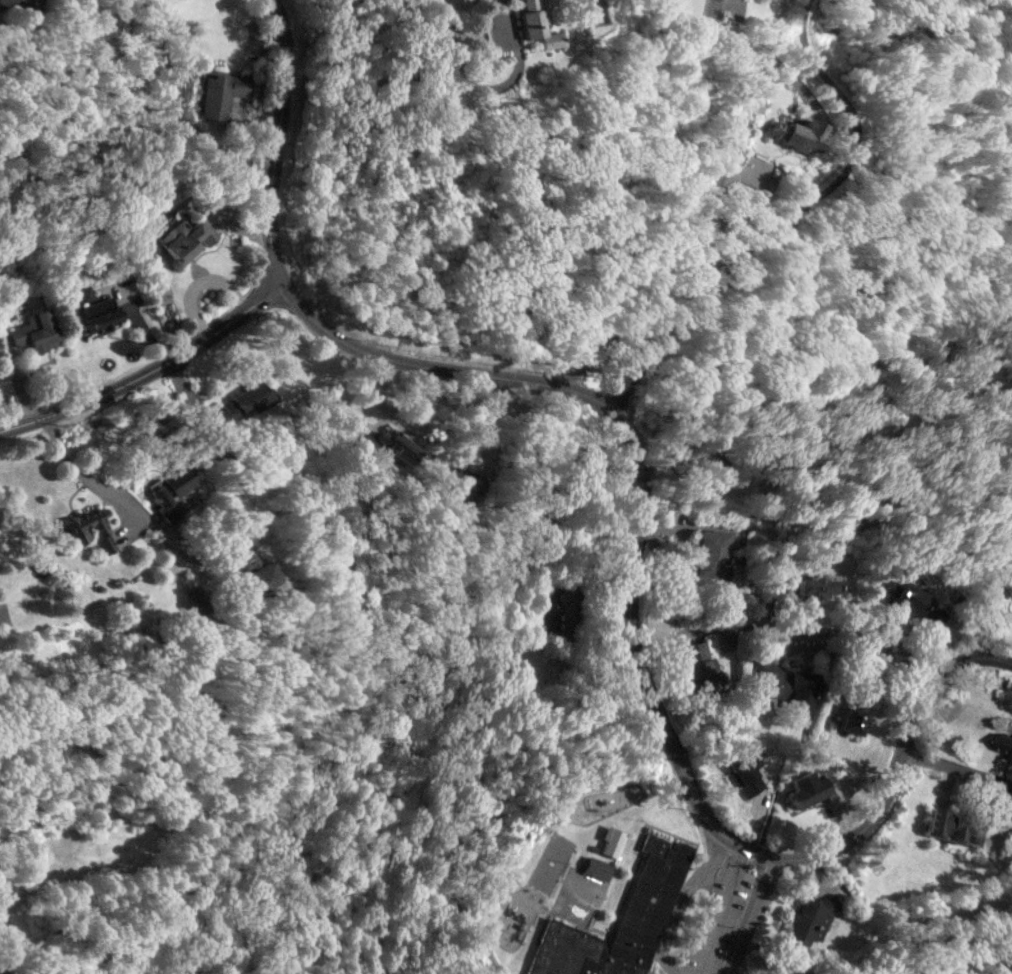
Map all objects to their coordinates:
building: (20, 4)
road: (733, 5)
building: (600, 13)
building: (536, 24)
road: (489, 87)
building: (218, 92)
road: (276, 131)
building: (795, 131)
road: (784, 219)
building: (187, 239)
building: (99, 314)
building: (33, 330)
road: (150, 364)
building: (240, 402)
building: (368, 442)
building: (396, 445)
building: (461, 480)
building: (170, 489)
road: (110, 492)
building: (90, 527)
building: (703, 558)
building: (249, 567)
building: (820, 584)
building: (914, 602)
building: (545, 611)
road: (788, 632)
road: (632, 642)
building: (698, 666)
building: (789, 684)
building: (854, 711)
road: (957, 765)
building: (744, 770)
building: (806, 789)
building: (949, 825)
building: (611, 840)
building: (596, 867)
building: (656, 883)
road: (749, 911)
road: (721, 912)
building: (809, 919)
building: (800, 973)

